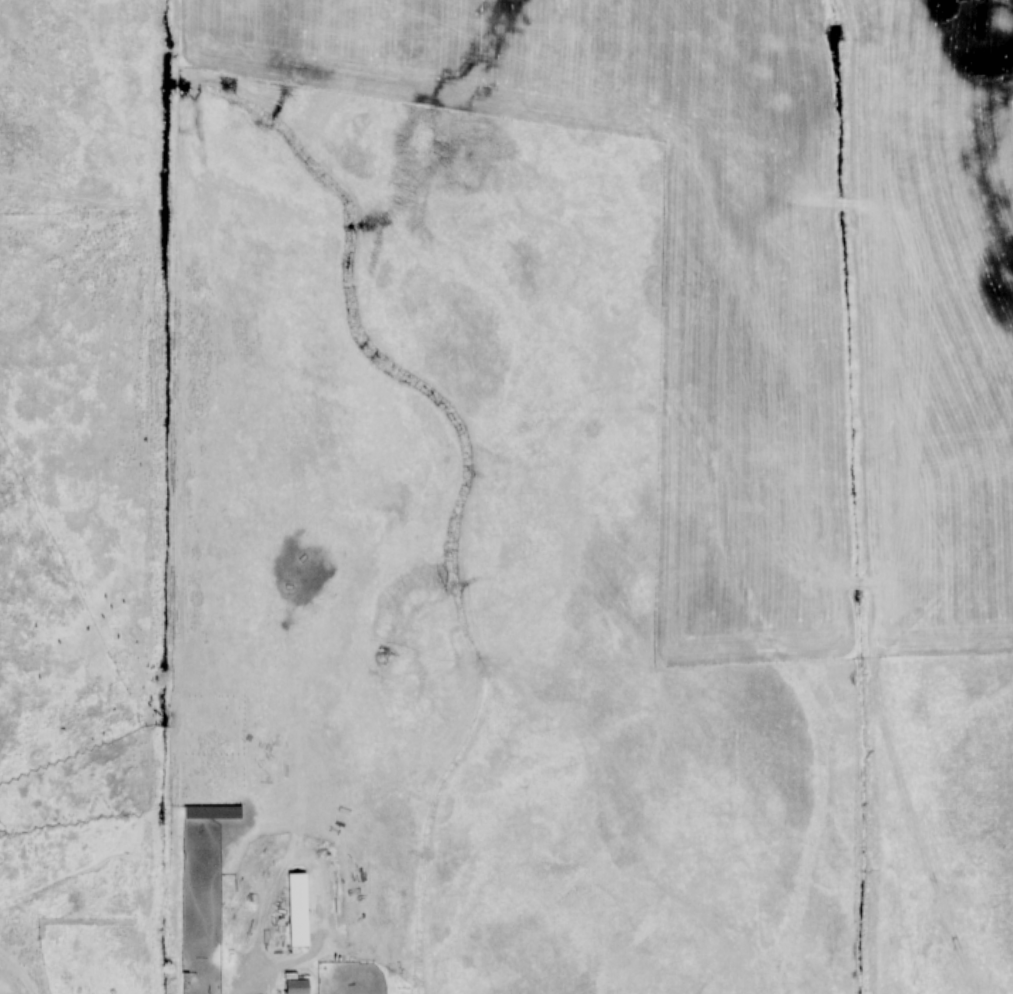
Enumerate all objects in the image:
building: (212, 812)
building: (73, 834)
building: (298, 909)
building: (296, 986)

